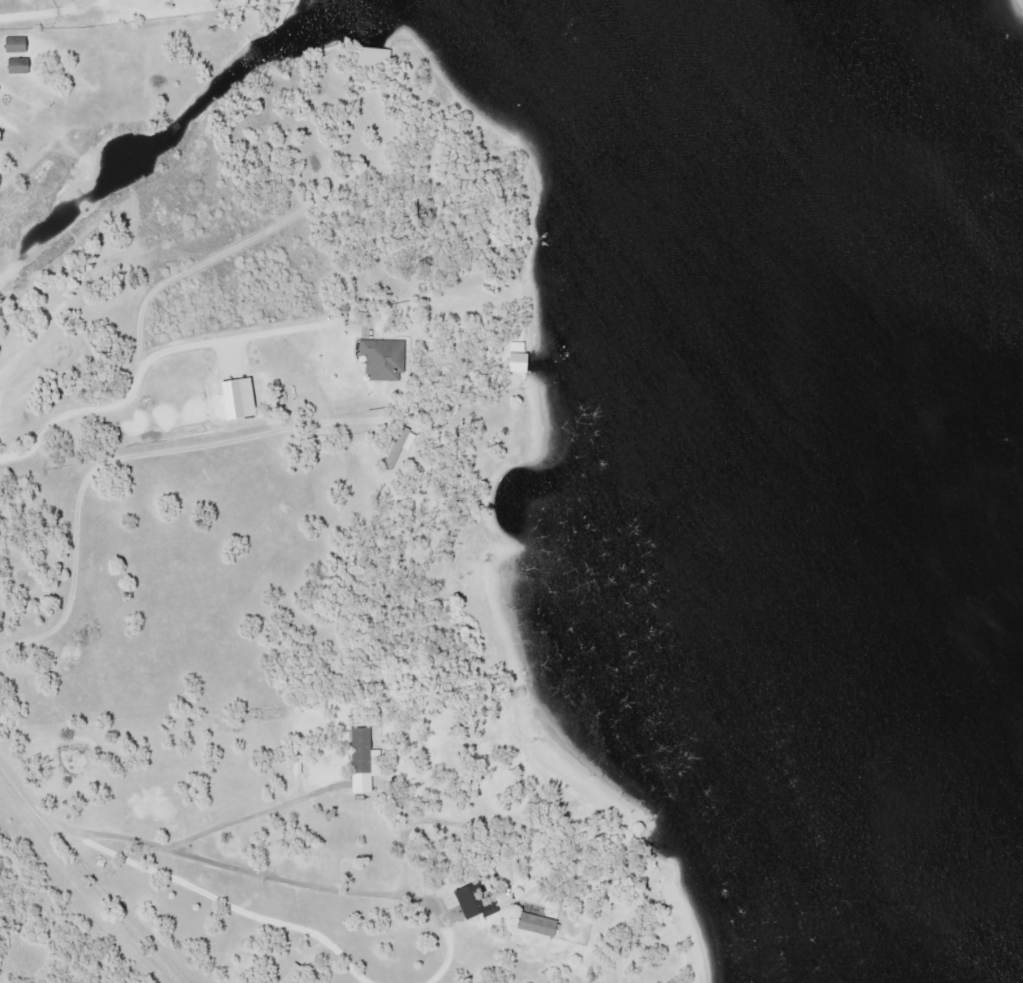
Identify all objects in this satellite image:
road: (42, 17)
building: (19, 43)
building: (22, 64)
building: (1, 89)
river: (879, 491)
building: (358, 750)
road: (96, 863)
building: (465, 900)
road: (237, 910)
building: (529, 923)

